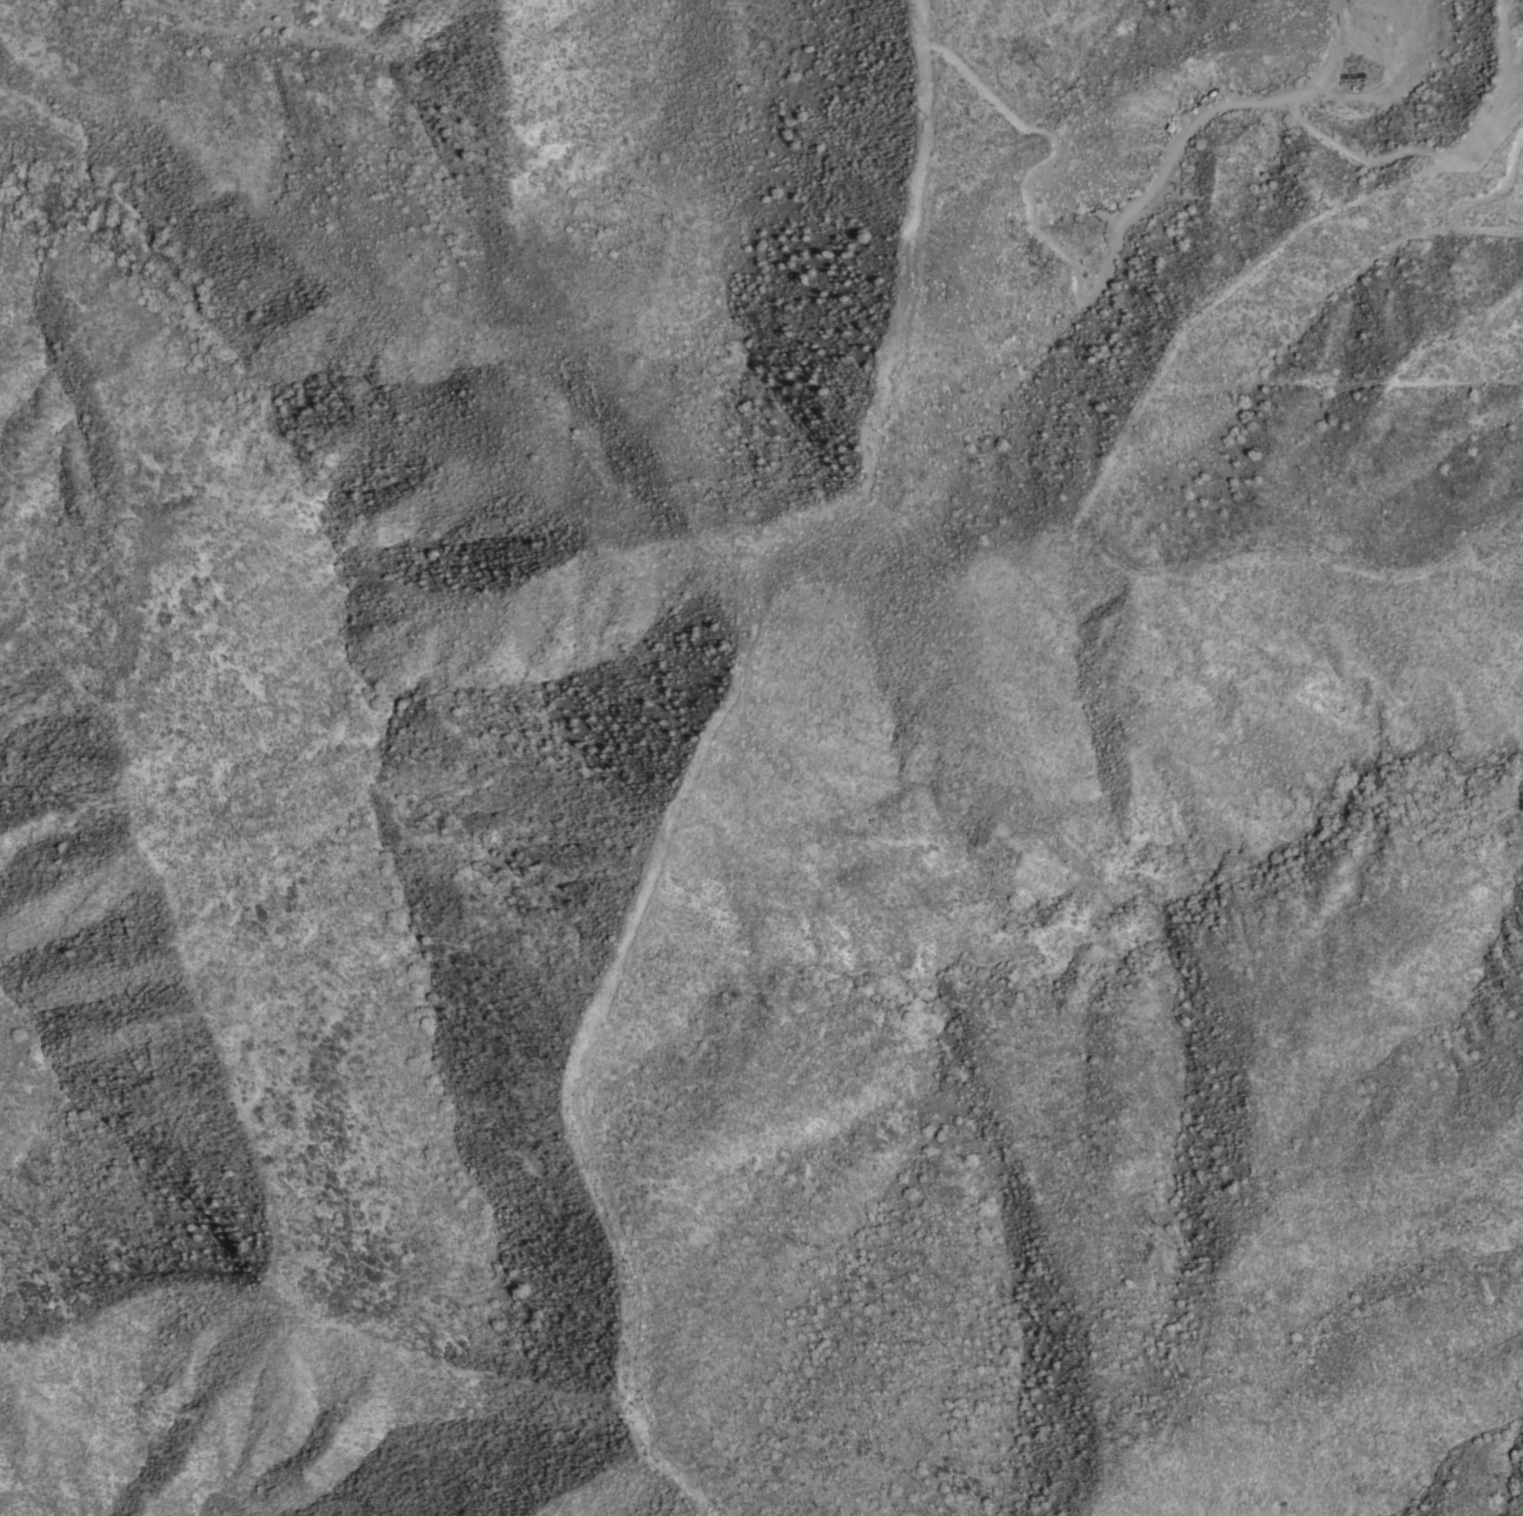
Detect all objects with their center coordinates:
building: (1355, 48)

